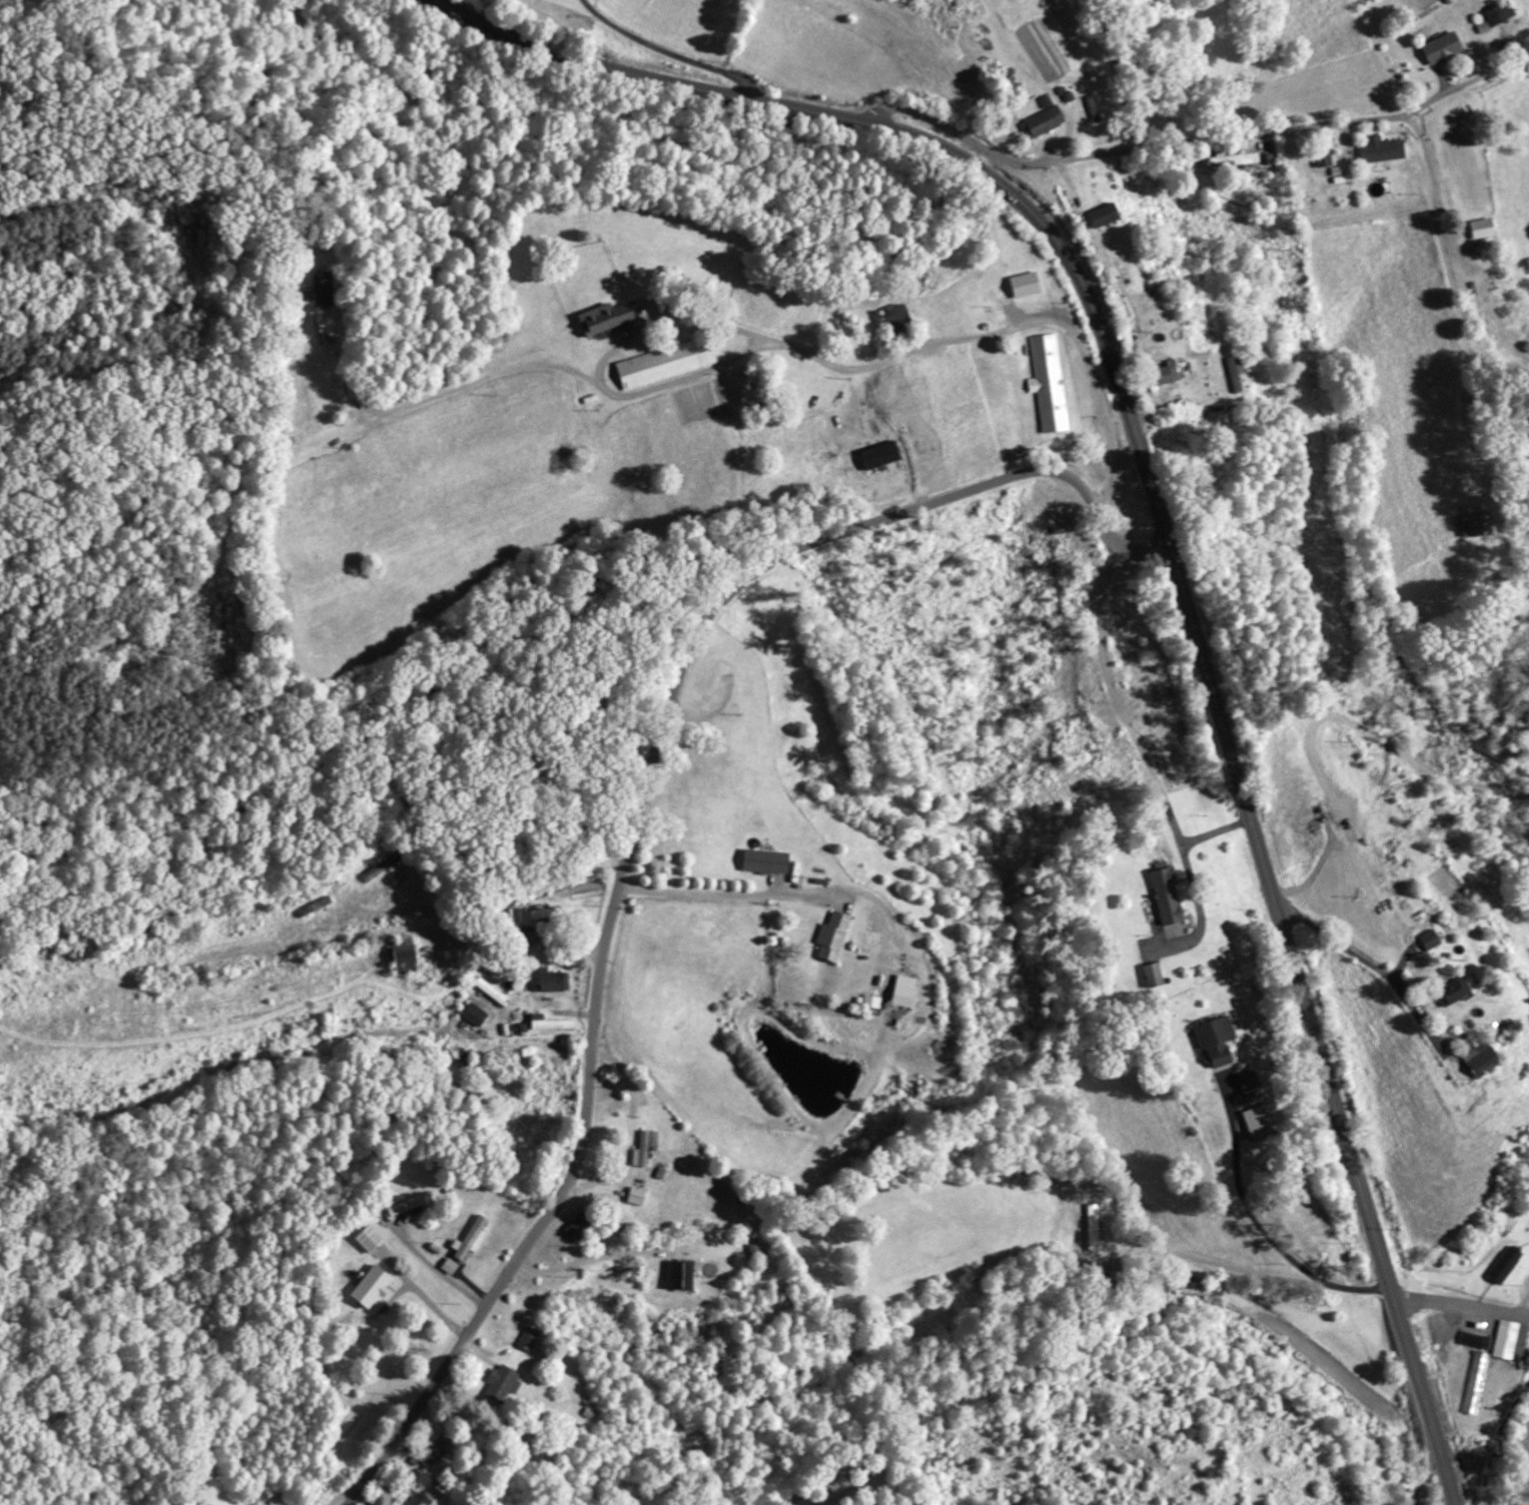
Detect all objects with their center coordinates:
building: (1495, 16)
building: (1441, 48)
road: (669, 52)
building: (1043, 118)
road: (1156, 147)
building: (1380, 150)
building: (1322, 156)
building: (1233, 160)
building: (1103, 216)
building: (1479, 229)
building: (1024, 285)
building: (604, 318)
building: (894, 319)
building: (666, 363)
building: (1164, 374)
building: (1235, 375)
building: (1047, 381)
road: (1168, 543)
road: (637, 824)
building: (764, 861)
building: (1165, 895)
building: (832, 936)
building: (1428, 939)
building: (403, 958)
building: (1152, 974)
building: (553, 980)
building: (903, 991)
building: (1451, 991)
building: (871, 1001)
building: (474, 1014)
building: (550, 1022)
building: (1214, 1039)
building: (1478, 1058)
building: (1246, 1079)
building: (484, 1092)
building: (1263, 1118)
building: (644, 1148)
building: (635, 1196)
building: (409, 1204)
building: (578, 1226)
building: (369, 1238)
building: (471, 1239)
building: (1505, 1264)
building: (450, 1266)
building: (677, 1275)
building: (371, 1287)
road: (1461, 1304)
building: (1511, 1336)
building: (527, 1338)
building: (1475, 1340)
building: (1477, 1382)
building: (501, 1383)
building: (434, 1452)
building: (204, 1503)

